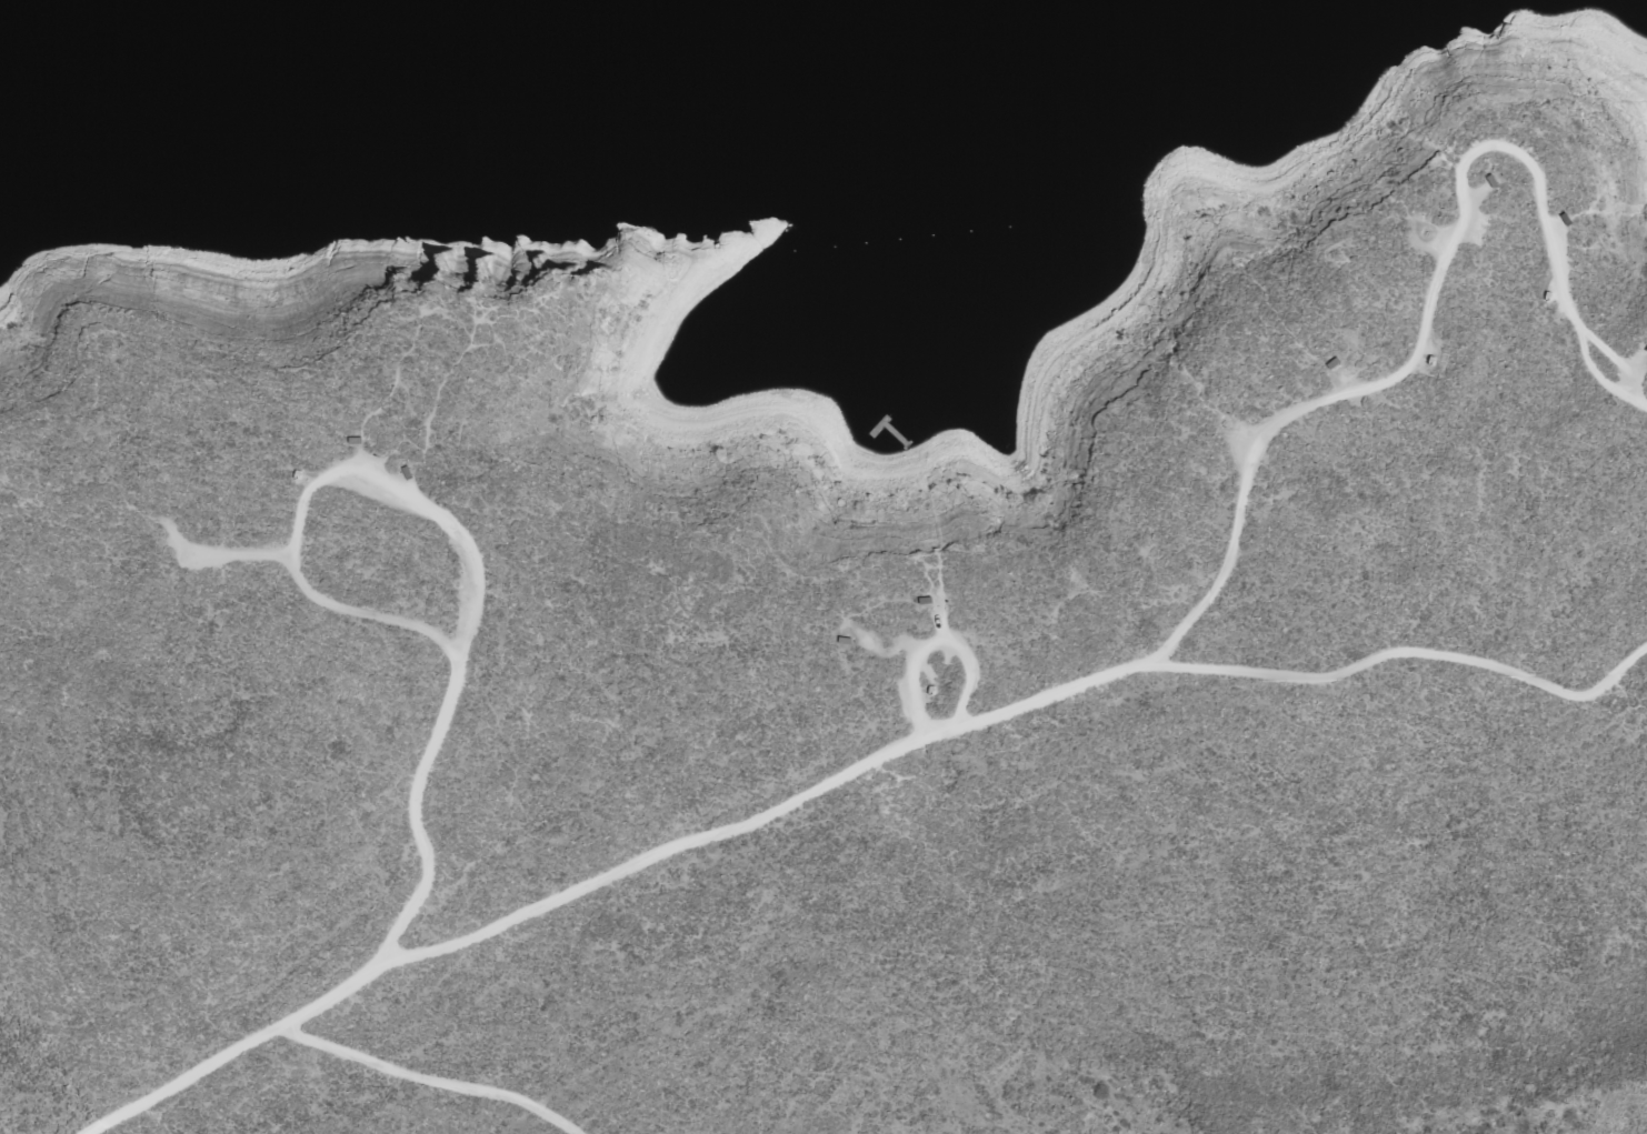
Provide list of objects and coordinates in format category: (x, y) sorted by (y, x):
road: (1429, 295)
road: (443, 519)
road: (938, 643)
road: (1405, 652)
road: (763, 819)
road: (377, 965)
road: (433, 1078)

